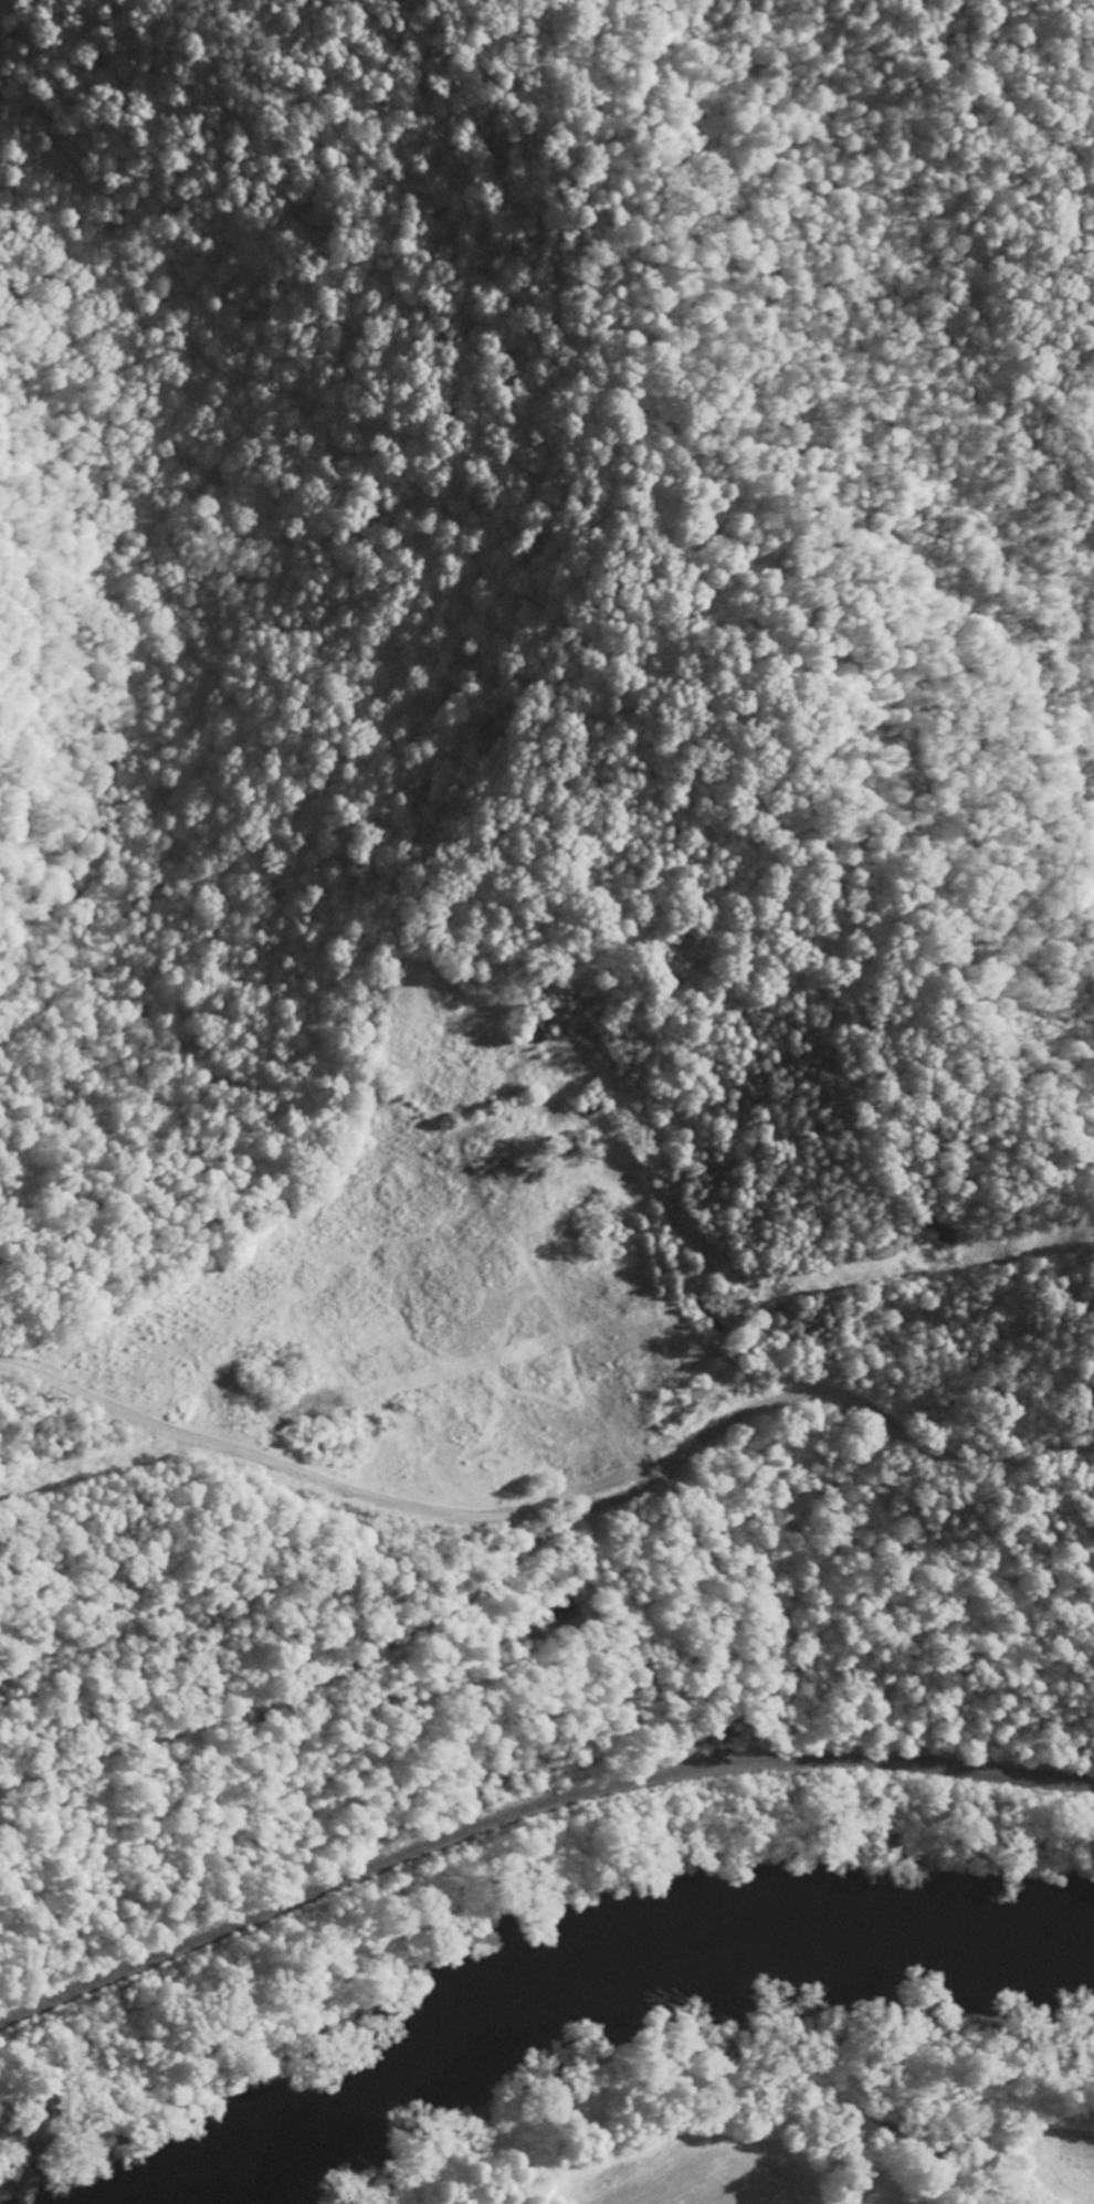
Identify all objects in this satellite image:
road: (340, 1488)
road: (544, 1533)
building: (560, 1612)
railway: (529, 1807)
river: (592, 1970)

